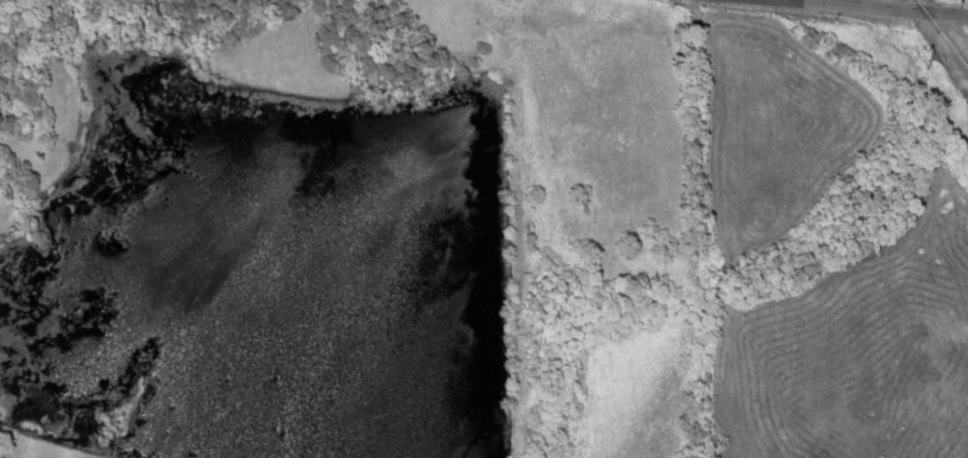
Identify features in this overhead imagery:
road: (875, 6)
railway: (941, 35)

